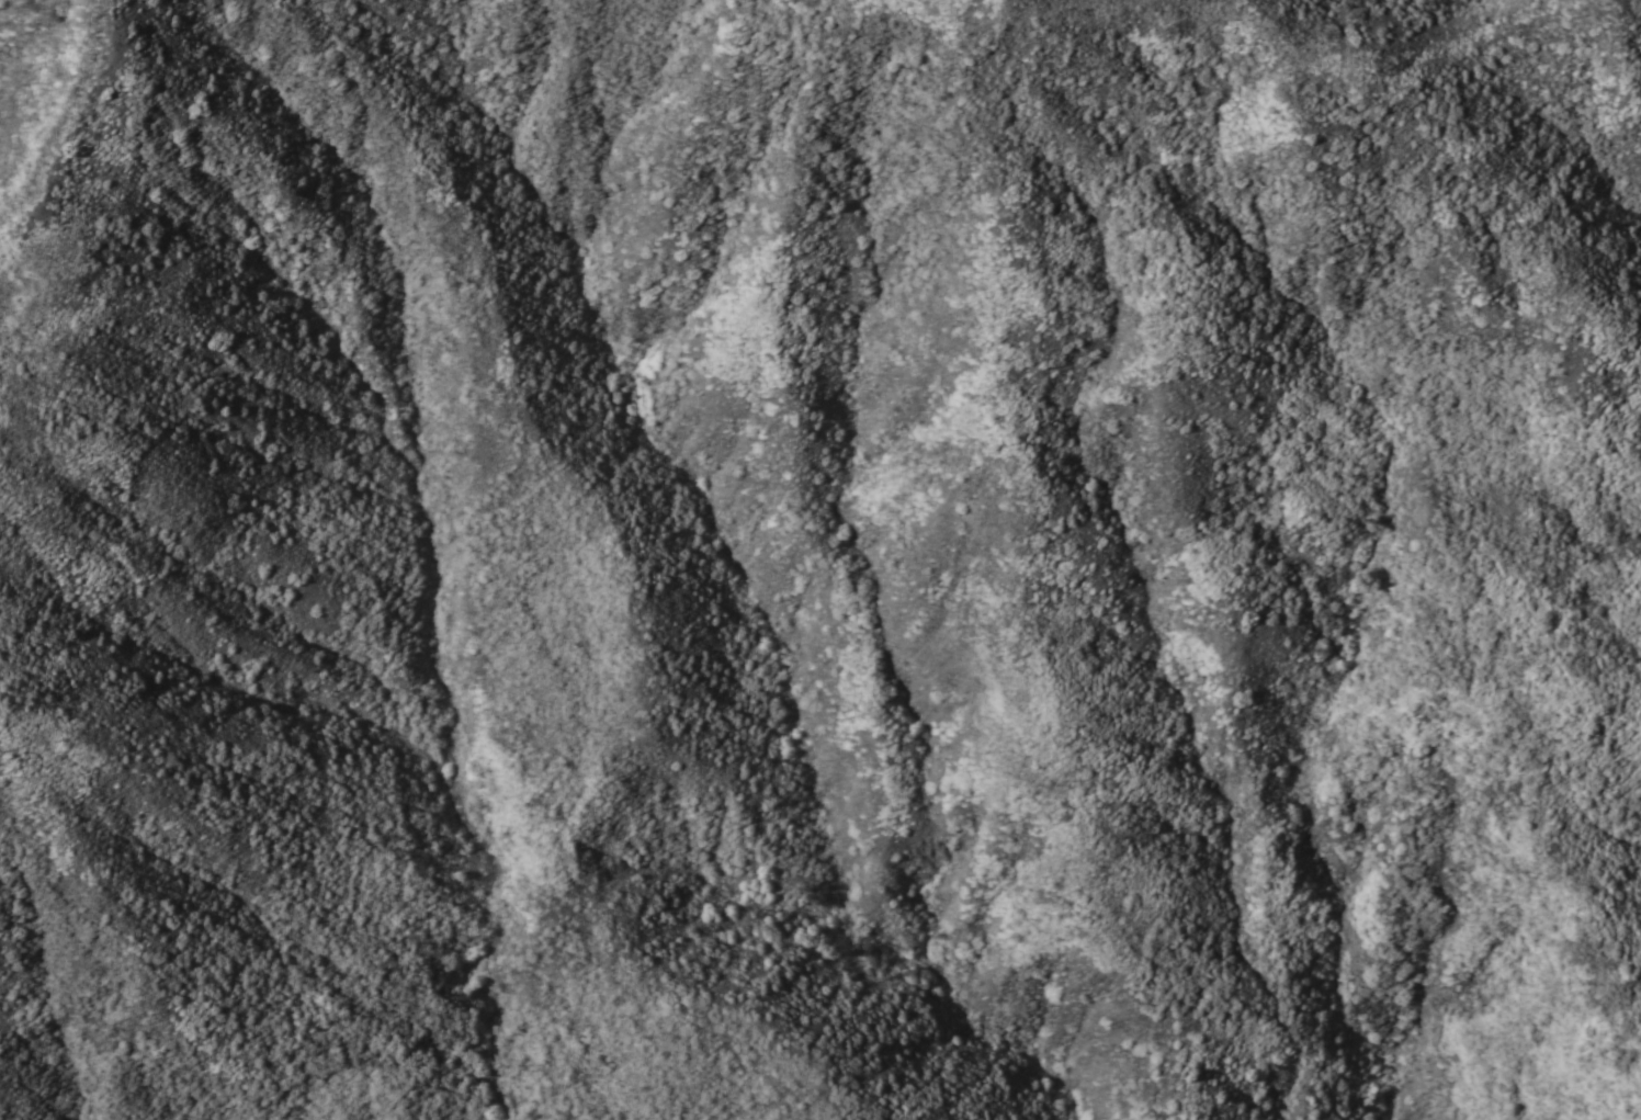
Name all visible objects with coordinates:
road: (60, 123)

